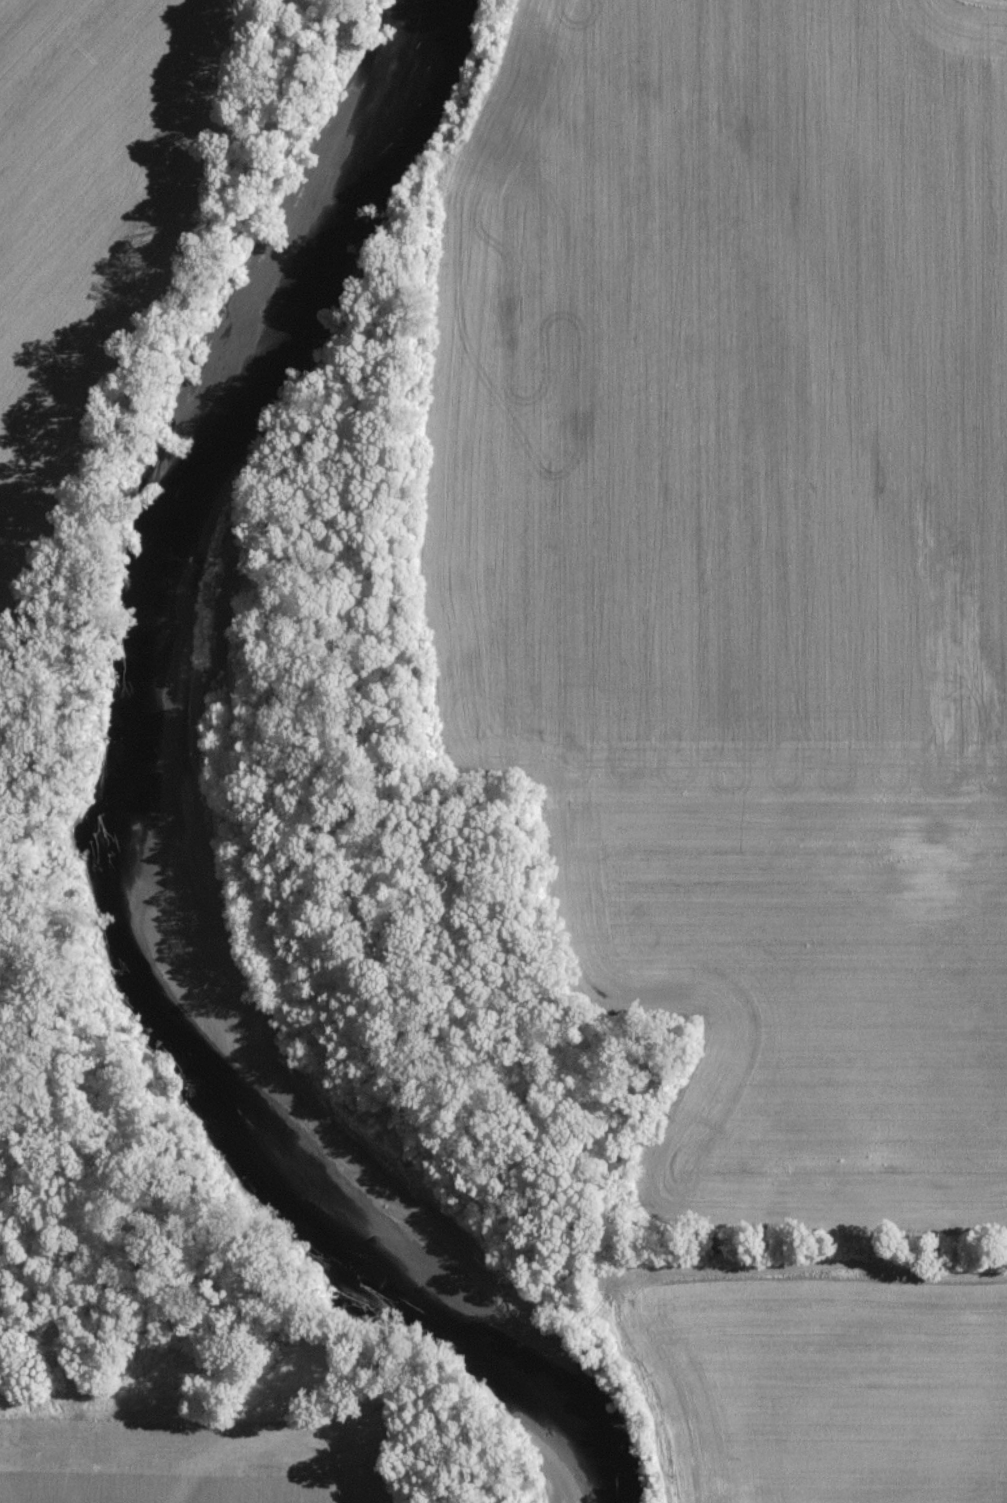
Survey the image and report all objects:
river: (147, 801)

